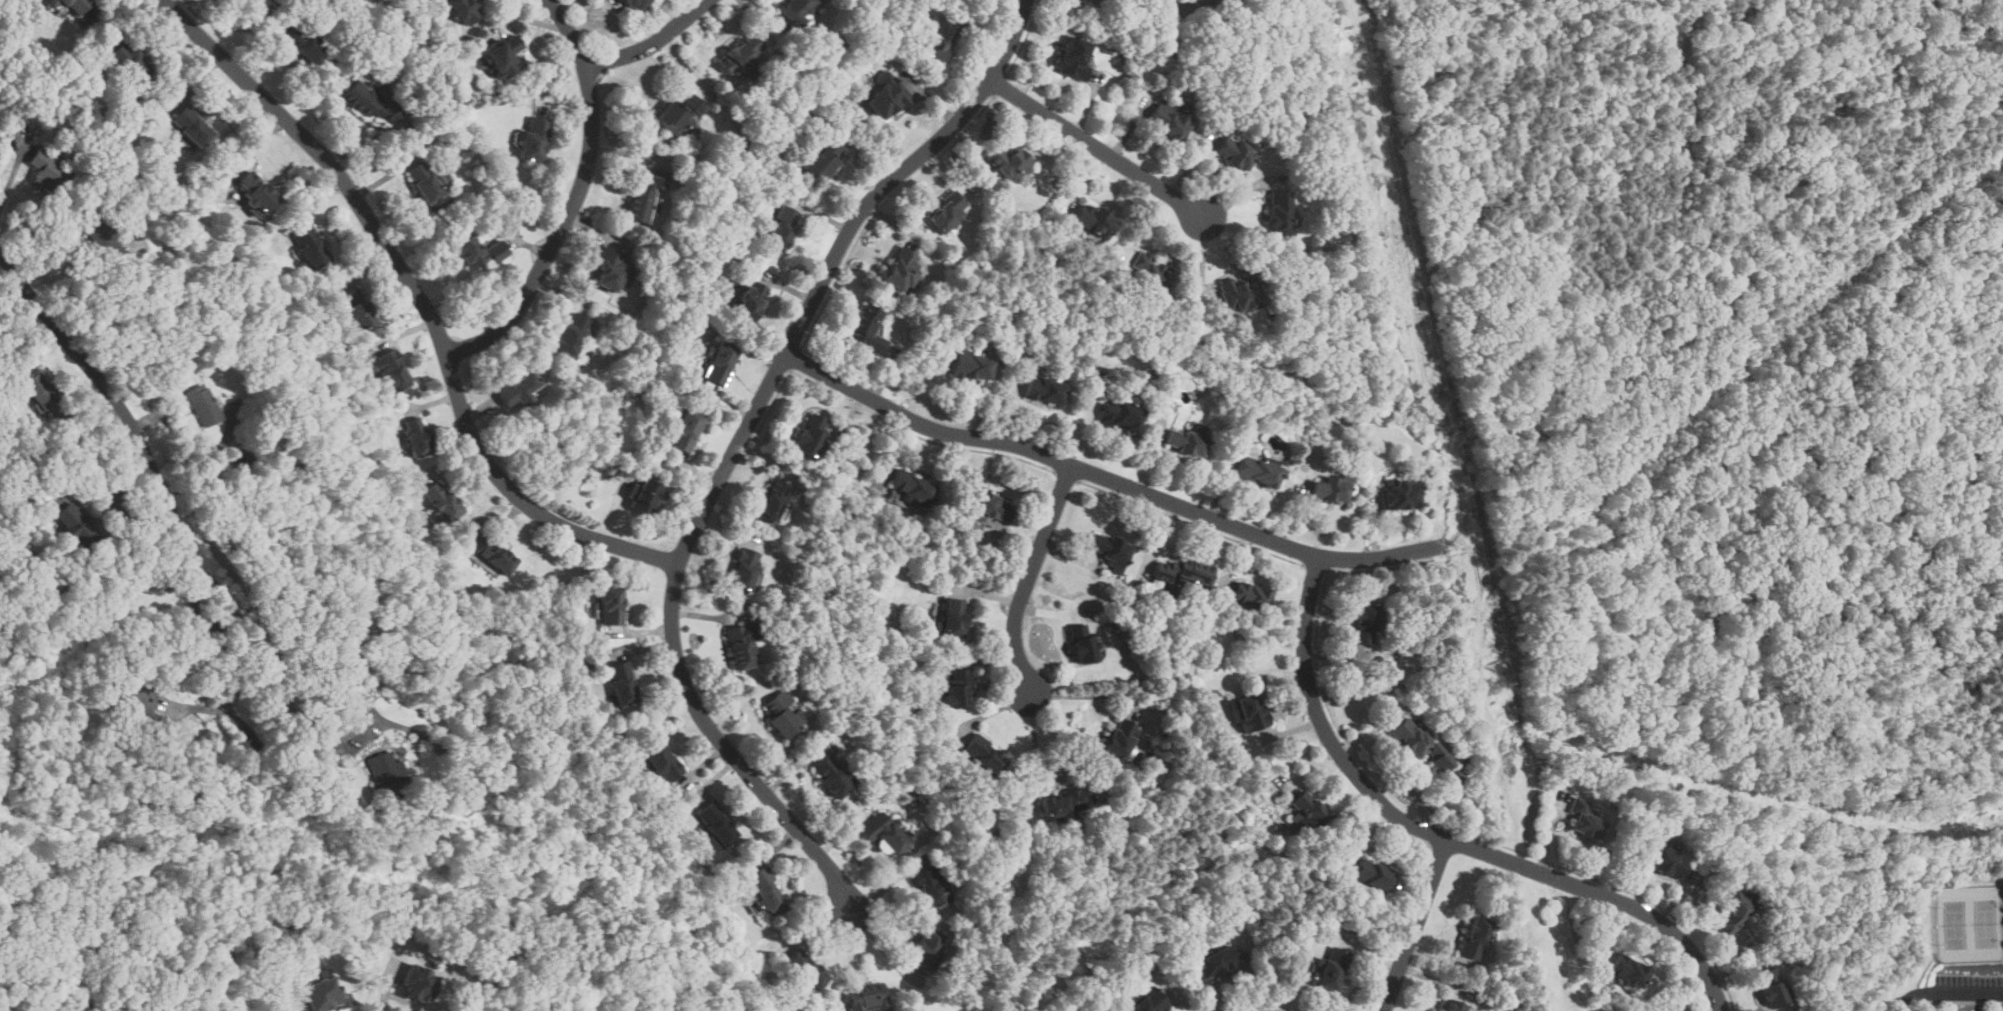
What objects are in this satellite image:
building: (1101, 0)
building: (246, 1)
building: (1202, 3)
building: (636, 4)
building: (75, 5)
building: (793, 8)
building: (461, 9)
building: (939, 40)
building: (303, 42)
road: (653, 43)
building: (739, 53)
building: (504, 56)
building: (1073, 56)
building: (129, 62)
building: (885, 94)
building: (370, 101)
building: (679, 111)
building: (1169, 120)
building: (189, 125)
building: (534, 137)
road: (1098, 147)
building: (1234, 151)
building: (824, 157)
building: (1011, 161)
building: (48, 172)
road: (10, 179)
power tower: (1379, 179)
building: (427, 184)
building: (253, 192)
building: (645, 195)
road: (576, 197)
building: (947, 210)
building: (1279, 214)
building: (1092, 219)
building: (781, 224)
building: (309, 247)
building: (477, 250)
building: (901, 268)
building: (609, 269)
building: (1151, 273)
building: (1239, 292)
road: (423, 299)
building: (750, 300)
building: (355, 308)
building: (866, 329)
building: (570, 333)
building: (720, 361)
building: (971, 366)
building: (391, 370)
building: (516, 389)
building: (1043, 389)
building: (39, 390)
road: (120, 402)
building: (203, 404)
building: (1120, 415)
building: (685, 430)
building: (809, 435)
building: (416, 437)
building: (1186, 442)
road: (737, 445)
building: (1257, 471)
road: (1110, 478)
building: (633, 487)
building: (912, 488)
building: (1330, 490)
building: (1401, 492)
building: (645, 496)
building: (772, 499)
building: (442, 501)
building: (990, 508)
road: (121, 511)
building: (76, 525)
building: (1109, 549)
building: (494, 555)
building: (744, 568)
building: (1183, 571)
road: (1030, 576)
building: (1249, 595)
building: (611, 604)
building: (953, 617)
building: (1364, 623)
building: (1082, 642)
building: (739, 647)
road: (231, 666)
building: (621, 682)
power tower: (1494, 683)
building: (956, 687)
road: (356, 692)
building: (1250, 711)
building: (783, 713)
building: (1121, 737)
building: (1418, 742)
building: (984, 754)
road: (1039, 758)
building: (662, 762)
building: (383, 768)
building: (832, 775)
building: (1456, 776)
building: (1063, 803)
building: (1308, 813)
building: (1586, 816)
building: (716, 823)
building: (881, 832)
road: (1445, 836)
building: (1667, 862)
building: (1373, 875)
building: (930, 887)
building: (767, 893)
building: (1734, 909)
park: (1968, 922)
road: (1416, 924)
building: (1475, 937)
road: (882, 947)
building: (926, 951)
road: (847, 960)
building: (1214, 962)
building: (1331, 968)
building: (1627, 971)
building: (804, 972)
building: (418, 983)
building: (1771, 988)
road: (384, 991)
road: (1947, 993)
building: (323, 995)
building: (867, 999)
building: (1147, 1000)
building: (1455, 1006)

